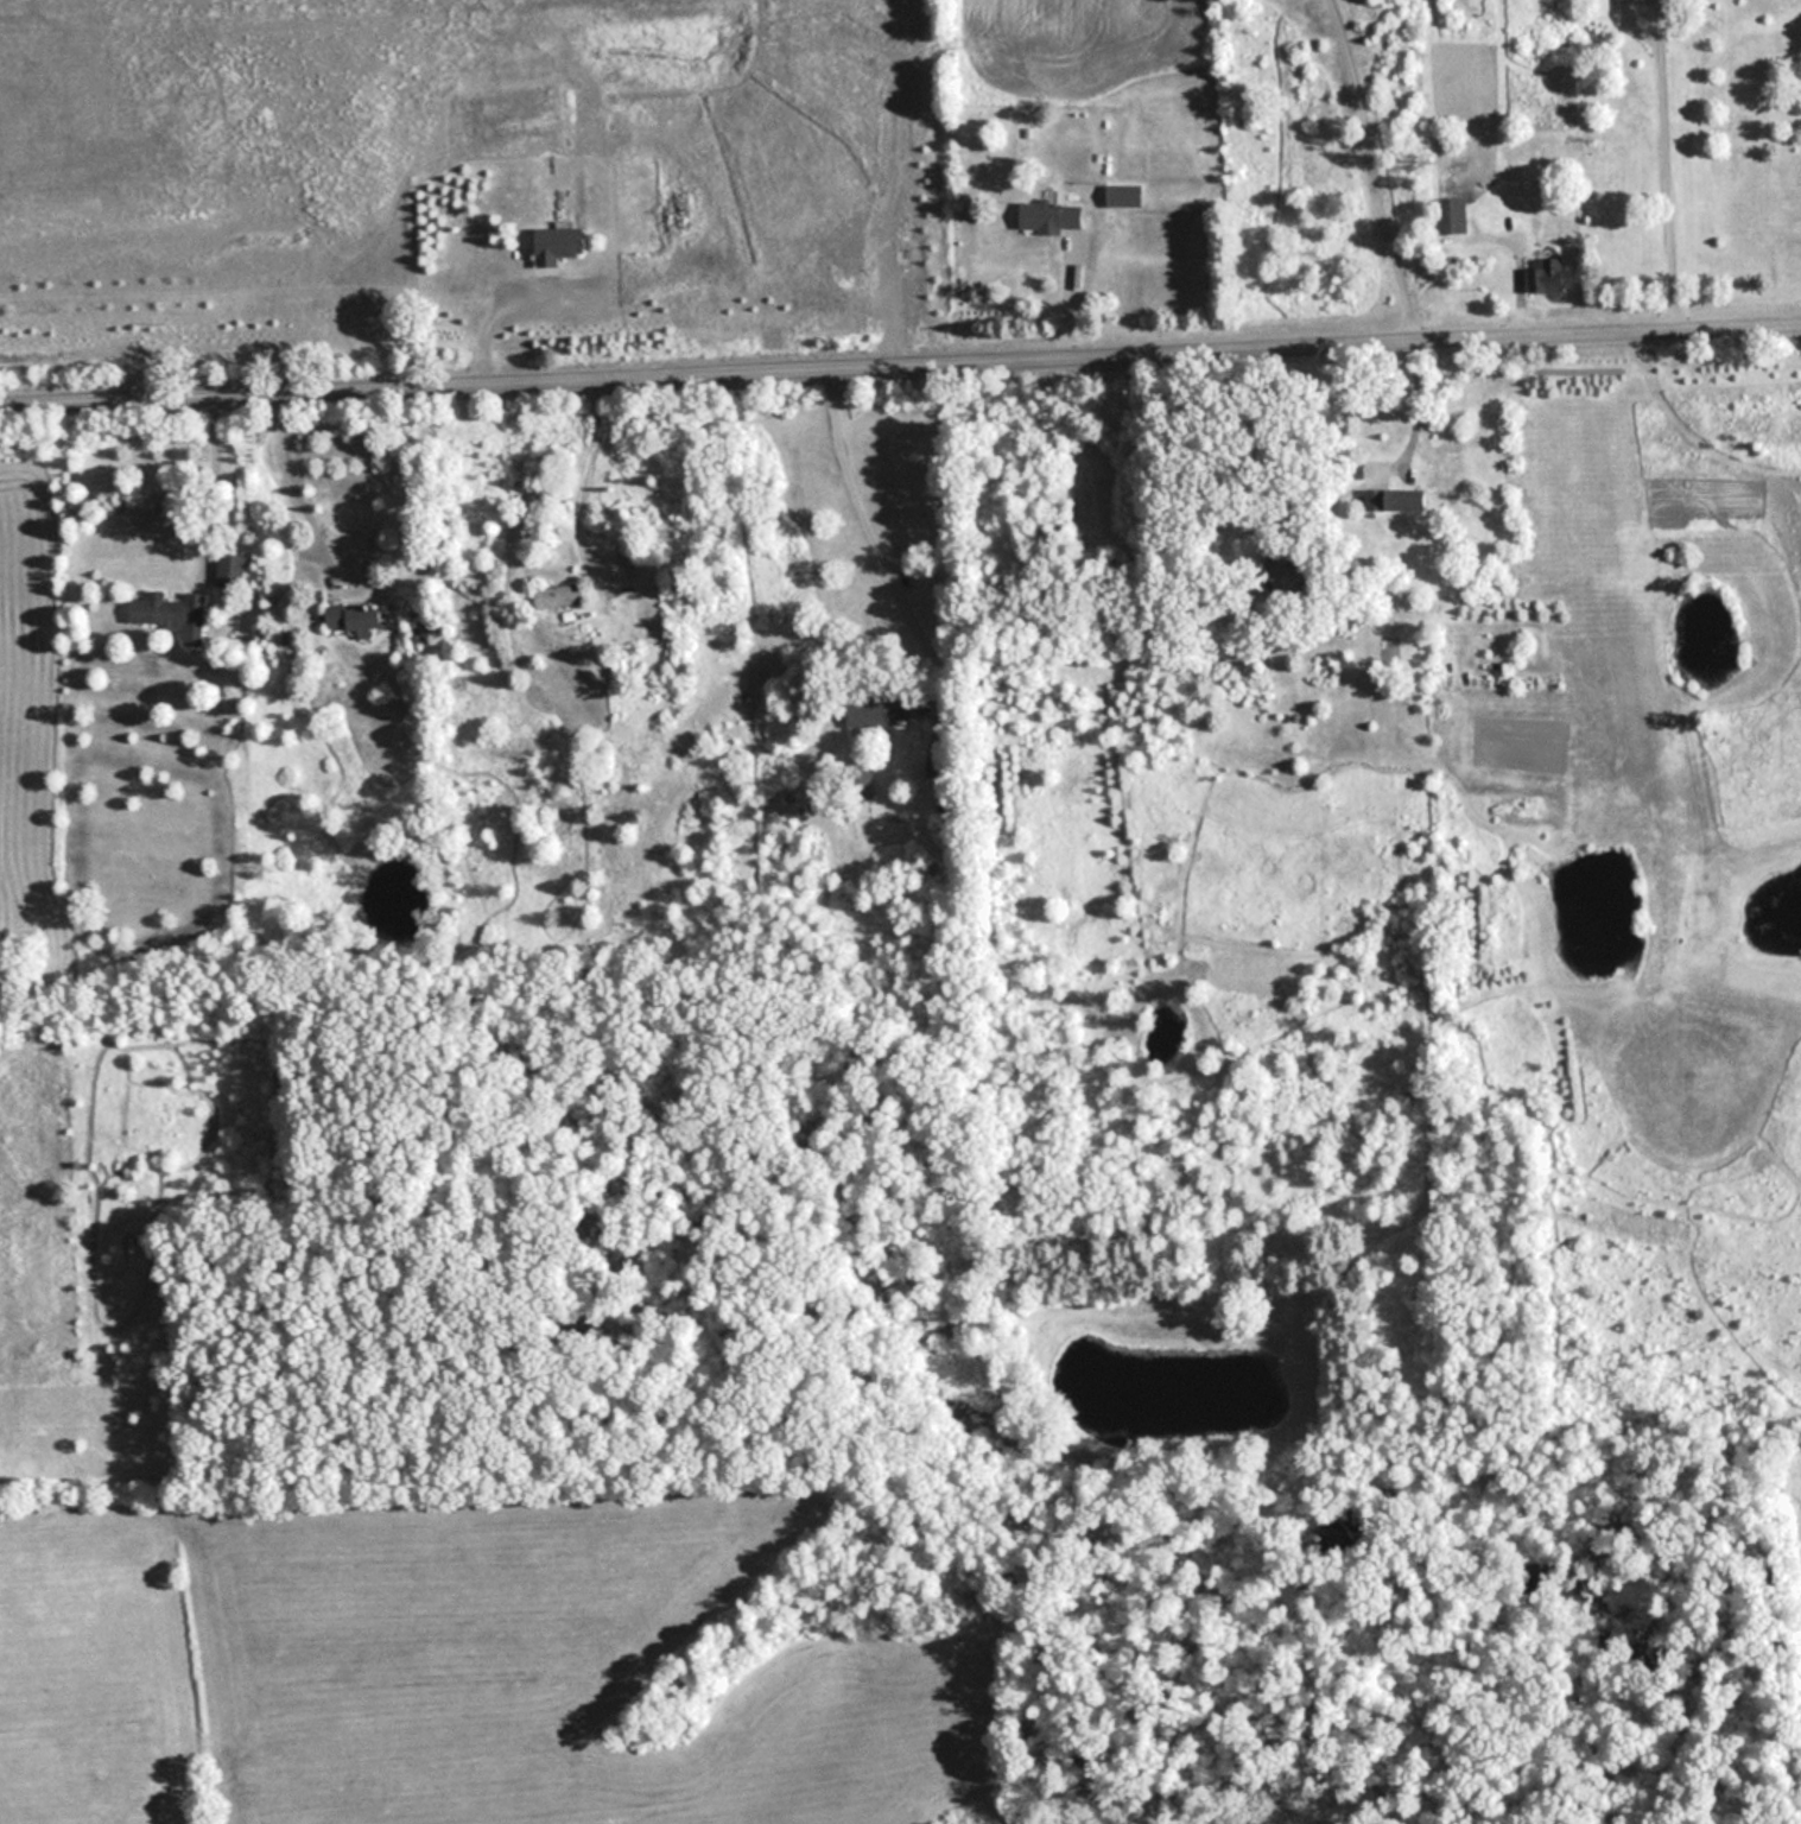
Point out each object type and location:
road: (1670, 159)
road: (1377, 164)
wastewater plant: (458, 169)
building: (1123, 195)
building: (1051, 215)
building: (1452, 216)
building: (559, 246)
building: (1545, 274)
road: (900, 351)
road: (1418, 405)
road: (291, 488)
building: (1400, 500)
road: (868, 532)
building: (230, 570)
building: (557, 596)
building: (172, 614)
building: (354, 619)
building: (877, 711)
building: (937, 766)

